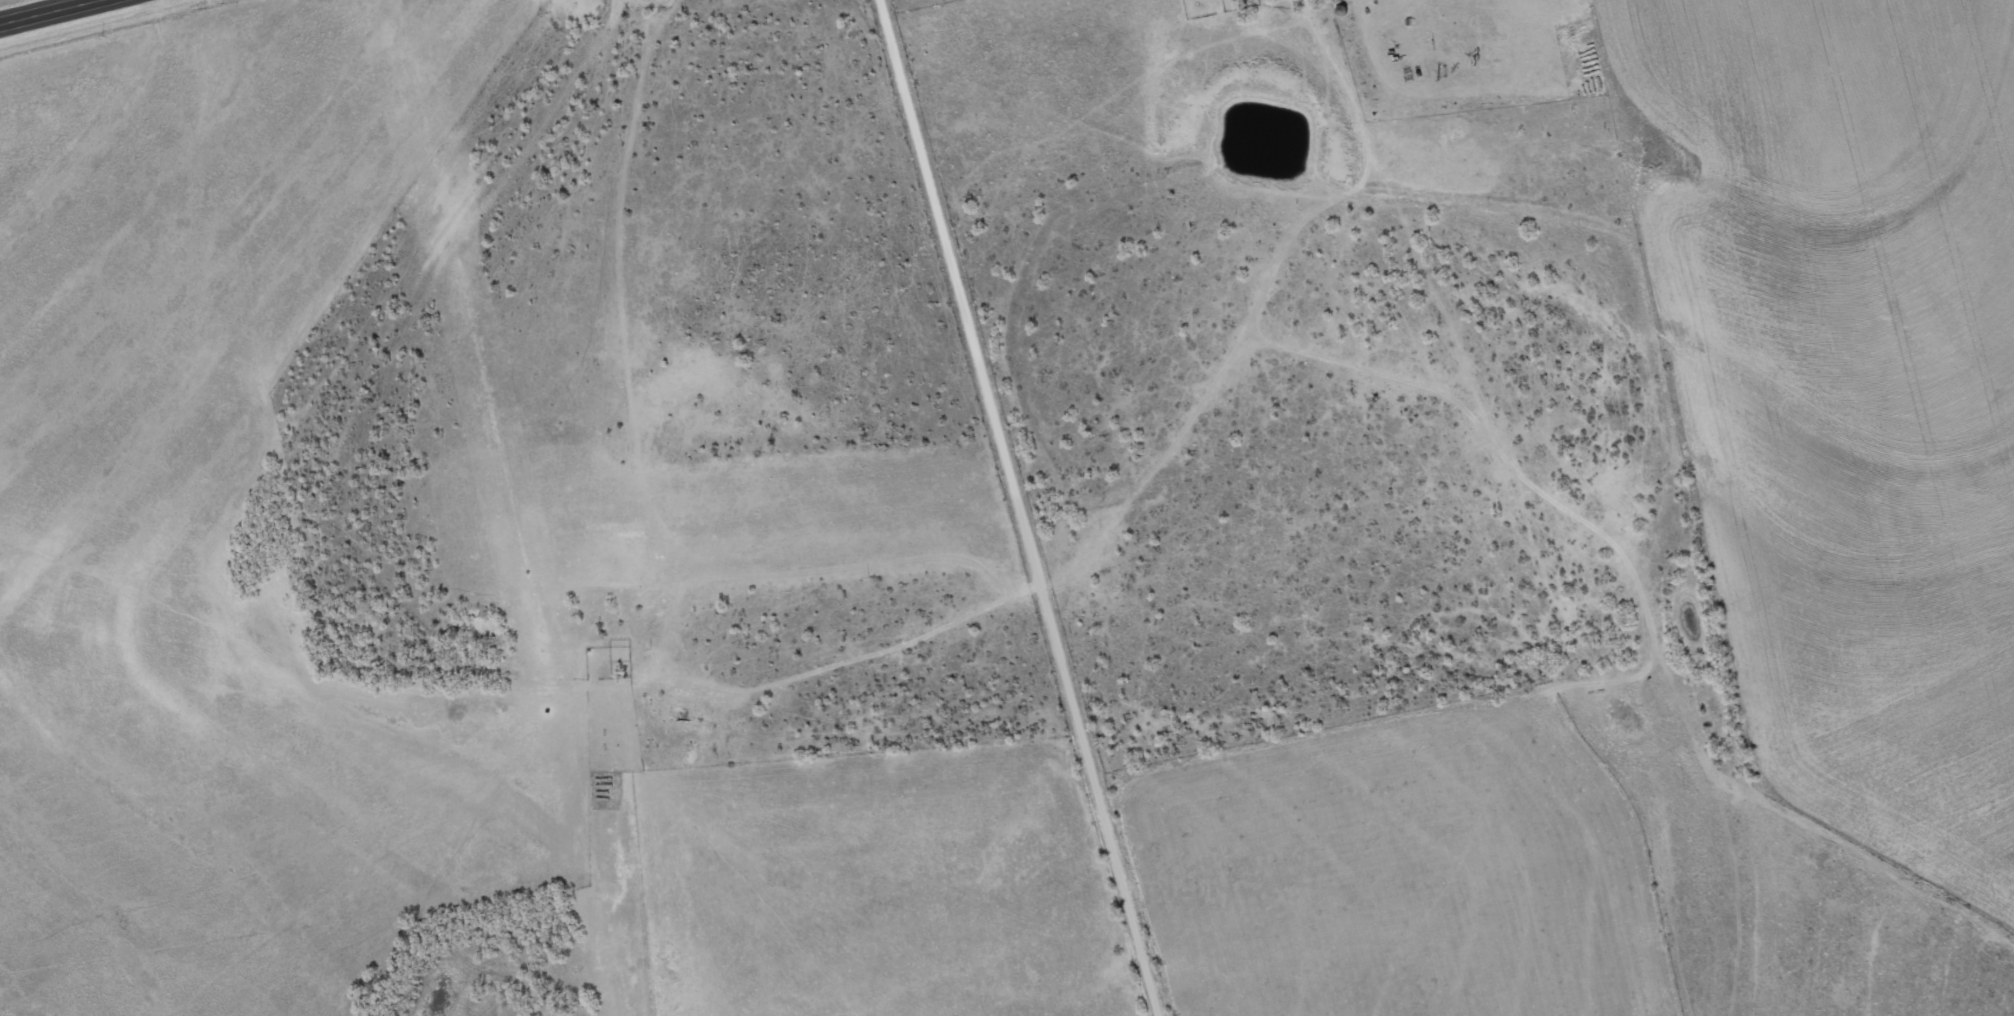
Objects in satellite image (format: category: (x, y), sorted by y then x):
road: (45, 11)
road: (1259, 306)
road: (1019, 506)

